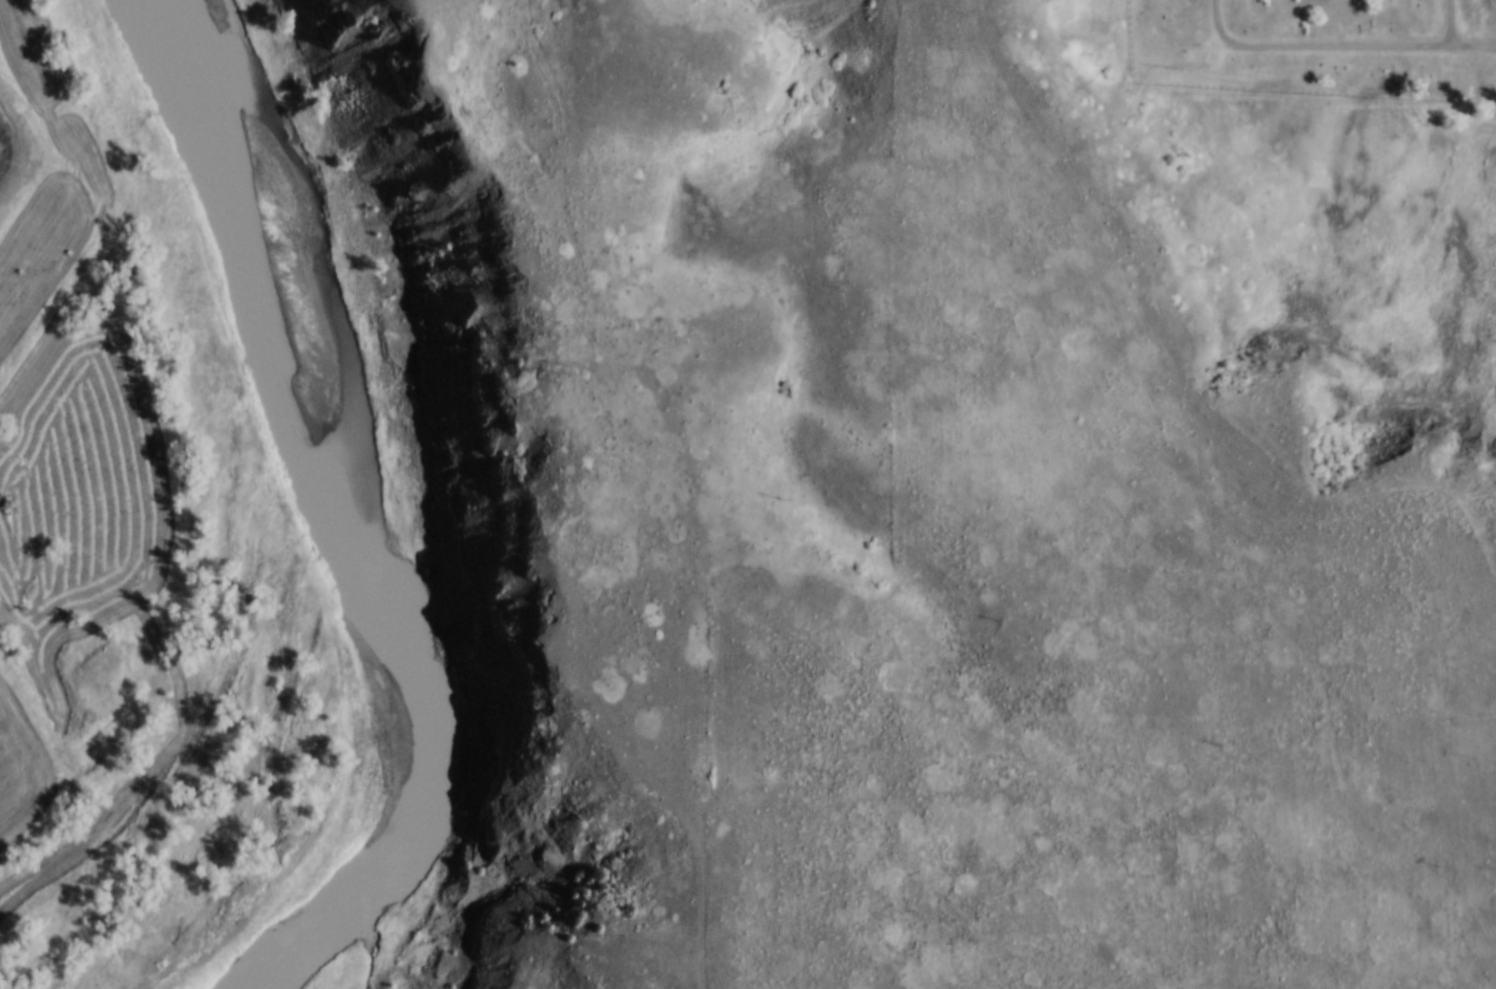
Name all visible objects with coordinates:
road: (1449, 22)
road: (1340, 45)
road: (10, 144)
river: (369, 512)
road: (640, 762)

